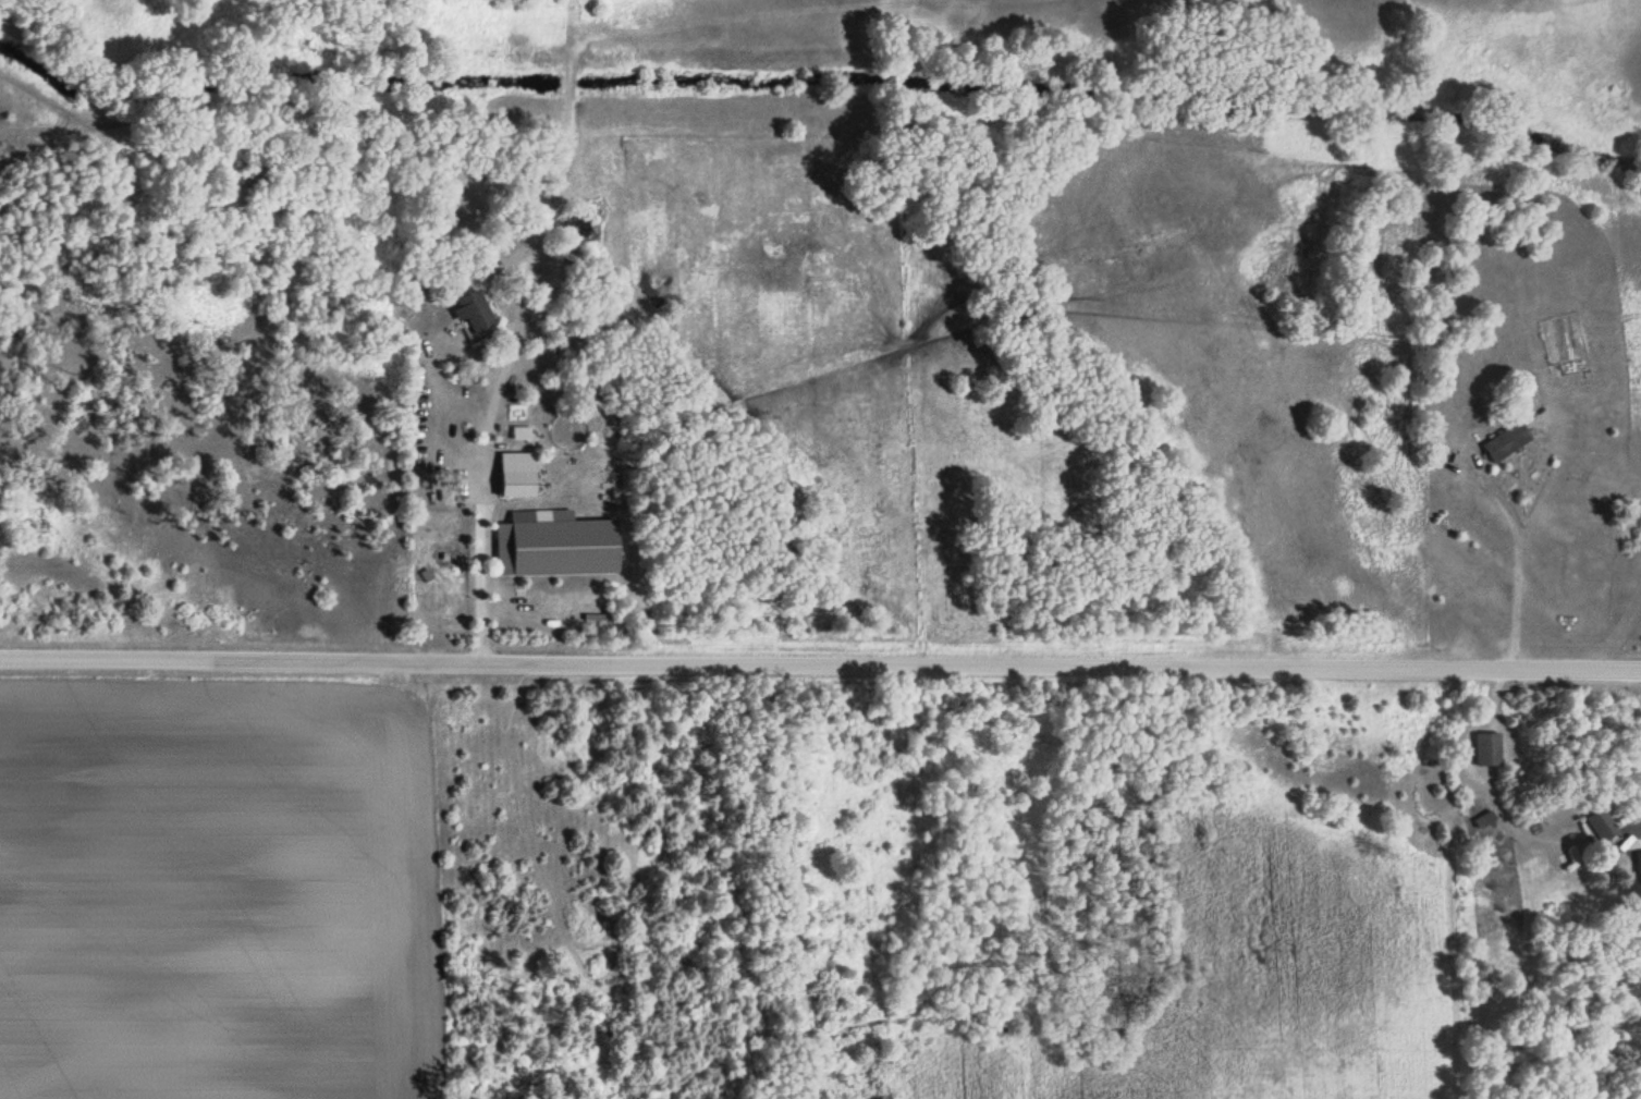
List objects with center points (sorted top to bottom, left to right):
building: (475, 314)
building: (1509, 442)
building: (517, 477)
building: (563, 545)
road: (820, 642)
building: (1490, 748)
building: (1486, 819)
building: (1604, 826)
building: (1638, 867)

